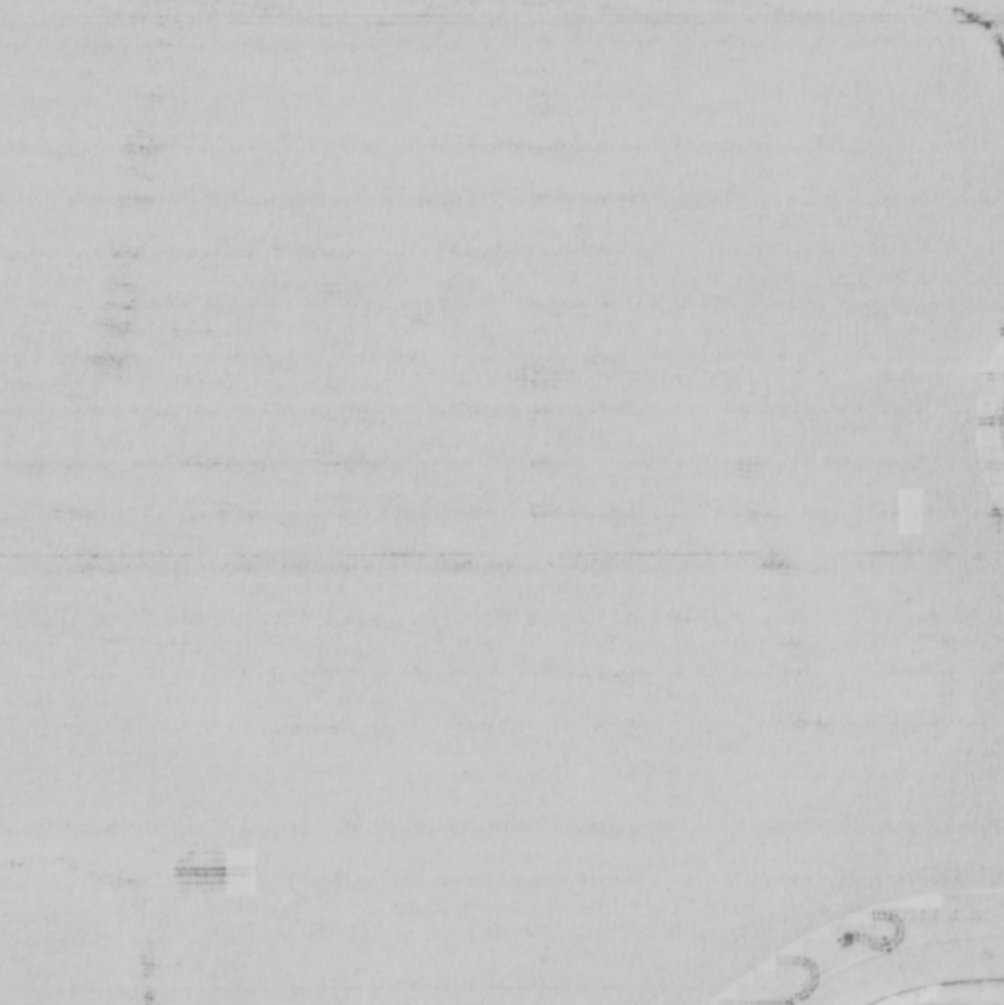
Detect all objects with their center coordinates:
crop: (500, 501)

